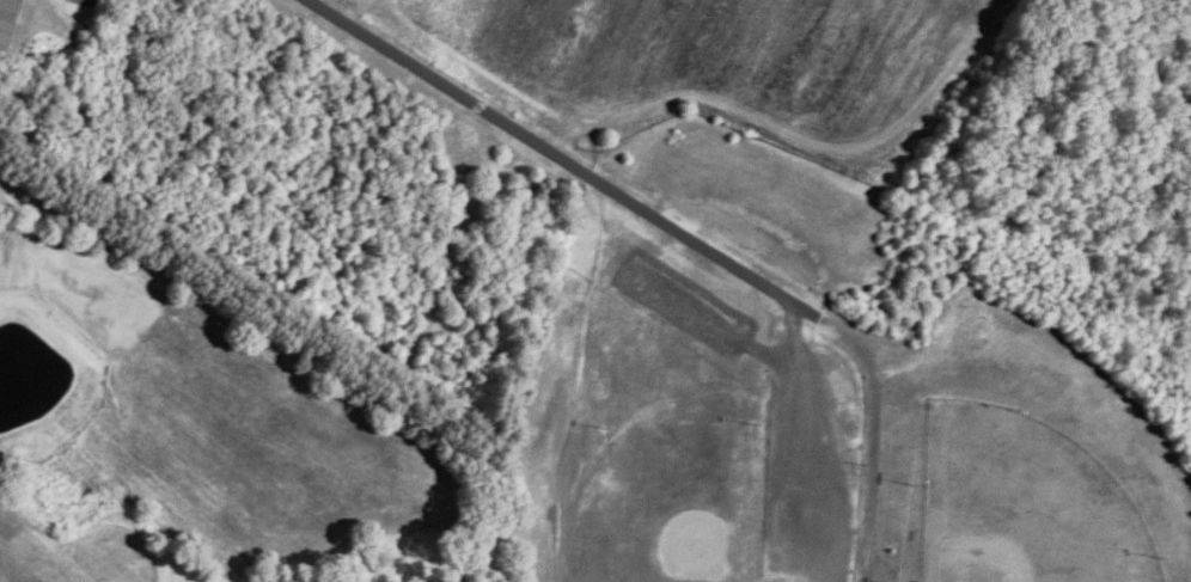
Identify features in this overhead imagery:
building: (6, 20)
road: (550, 149)
park: (1020, 503)

